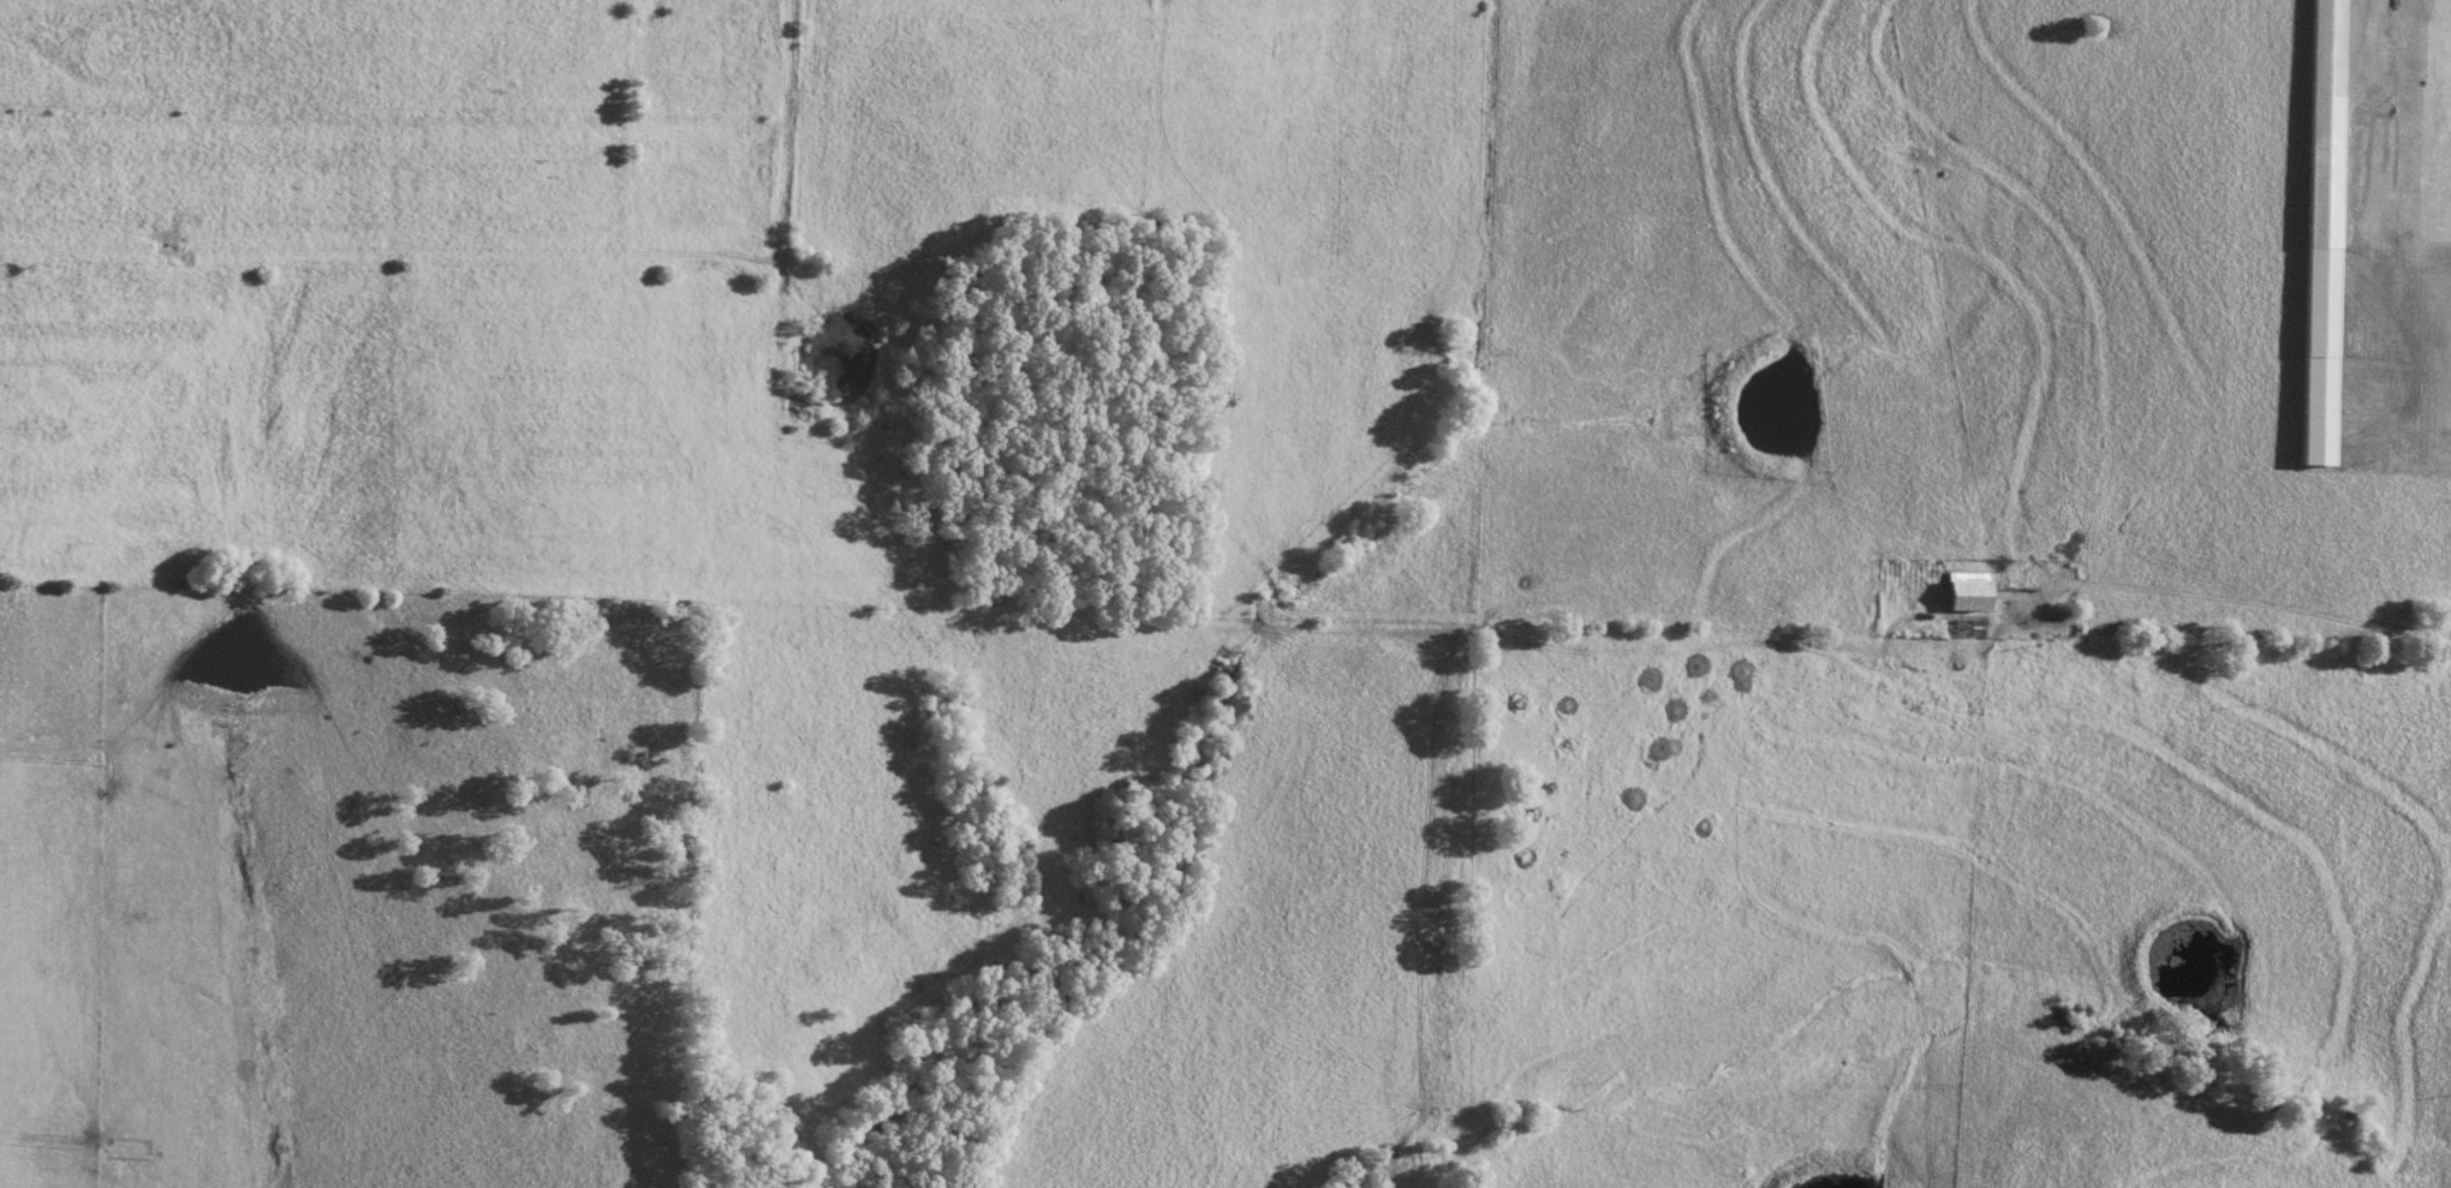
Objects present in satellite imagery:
road: (2075, 547)
building: (1964, 591)

